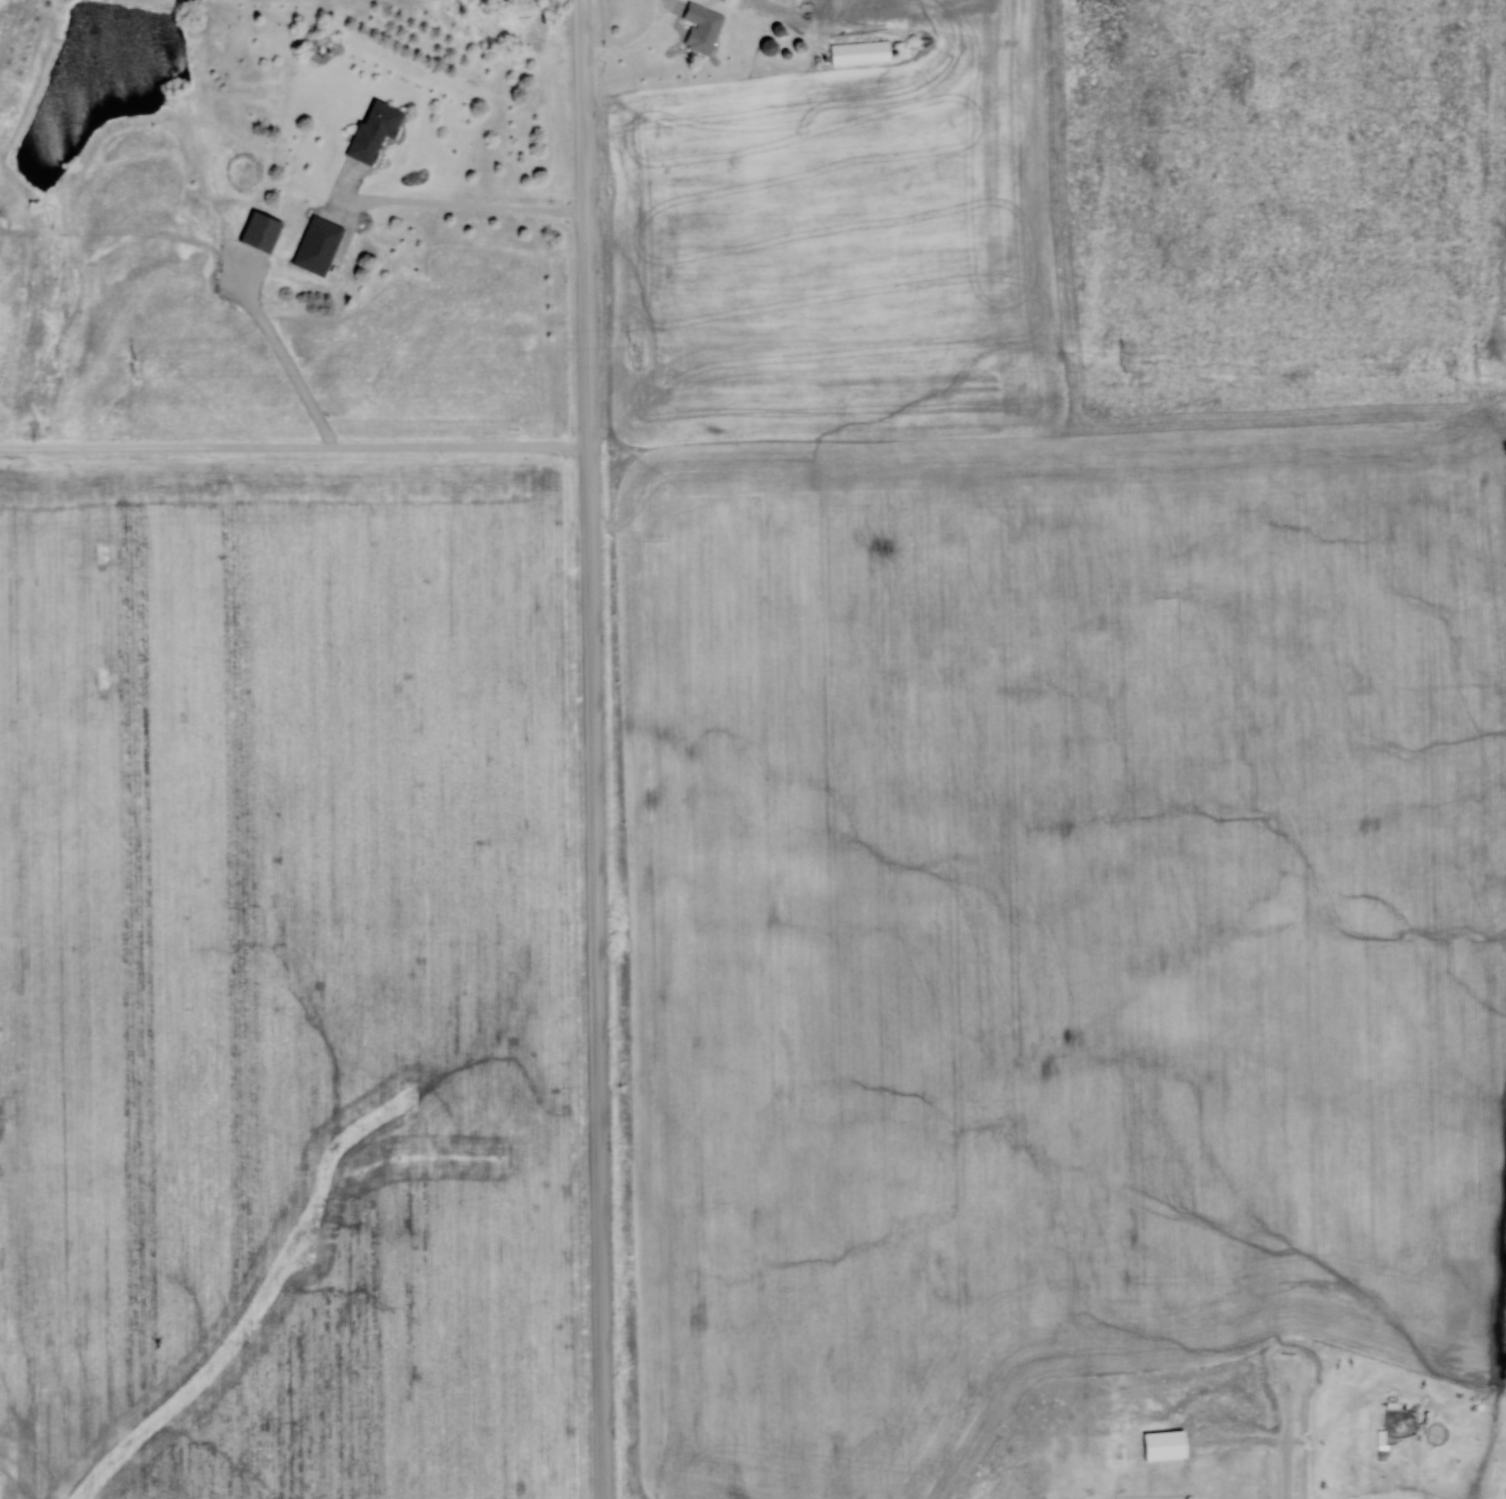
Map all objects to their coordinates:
building: (698, 0)
building: (806, 12)
building: (768, 47)
building: (860, 53)
building: (374, 131)
building: (261, 231)
building: (318, 246)
power tower: (635, 355)
power tower: (1128, 355)
power tower: (137, 363)
power tower: (1480, 368)
road: (594, 749)
road: (1291, 1448)

